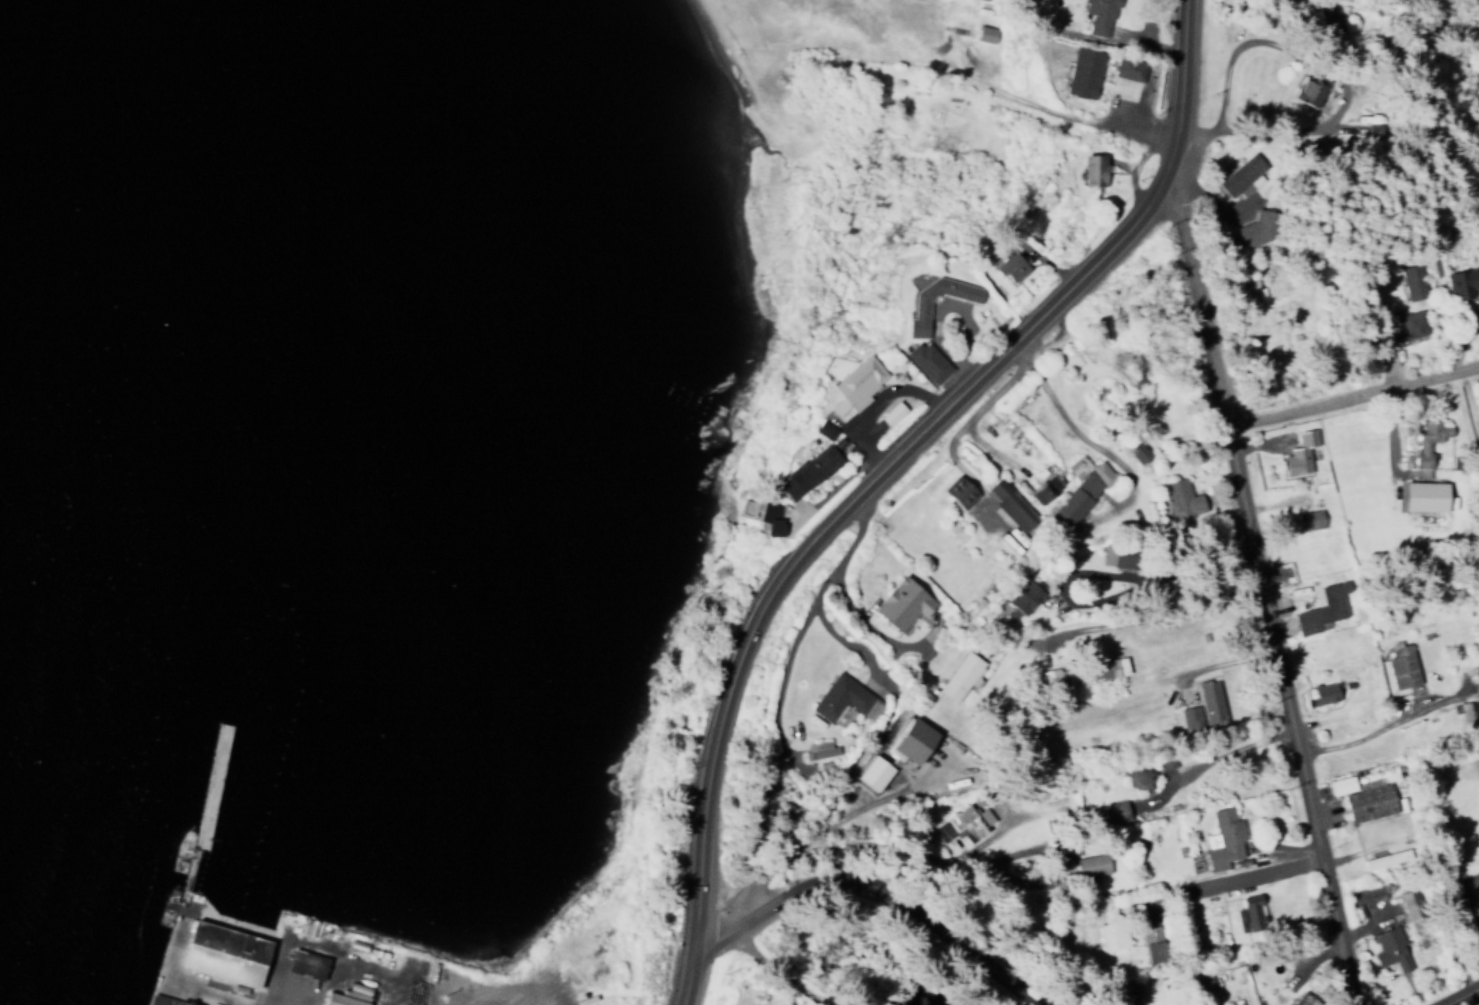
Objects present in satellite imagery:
building: (1100, 16)
building: (984, 33)
building: (1129, 68)
road: (1339, 70)
building: (1083, 72)
building: (1308, 92)
building: (1094, 169)
building: (1238, 175)
building: (1256, 229)
building: (1011, 264)
building: (1413, 282)
building: (916, 318)
building: (1406, 324)
building: (926, 361)
building: (856, 385)
road: (1352, 389)
building: (1477, 408)
building: (892, 413)
road: (961, 421)
road: (1078, 428)
building: (824, 429)
building: (1428, 443)
road: (899, 446)
building: (1139, 453)
building: (1300, 454)
building: (807, 470)
building: (1048, 487)
building: (960, 491)
building: (1080, 491)
building: (1426, 495)
building: (1003, 496)
building: (770, 519)
building: (1309, 520)
road: (836, 565)
road: (1263, 590)
building: (1024, 599)
building: (903, 603)
building: (1322, 608)
road: (826, 621)
building: (1402, 666)
building: (1111, 668)
building: (960, 675)
building: (1051, 679)
building: (844, 693)
building: (1323, 694)
building: (1211, 703)
building: (1189, 719)
road: (1362, 734)
building: (914, 744)
building: (817, 750)
building: (873, 772)
pier: (211, 784)
building: (1362, 796)
building: (1110, 813)
building: (967, 821)
road: (824, 822)
building: (1223, 840)
road: (933, 855)
building: (1091, 865)
pier: (188, 867)
road: (1248, 873)
road: (883, 885)
building: (1477, 901)
building: (1413, 908)
building: (1249, 913)
building: (1111, 929)
building: (1390, 950)
building: (226, 952)
building: (1154, 952)
pier: (213, 955)
building: (307, 962)
road: (775, 969)
road: (689, 972)
road: (1455, 994)
building: (343, 999)
building: (1304, 999)
building: (165, 1001)

